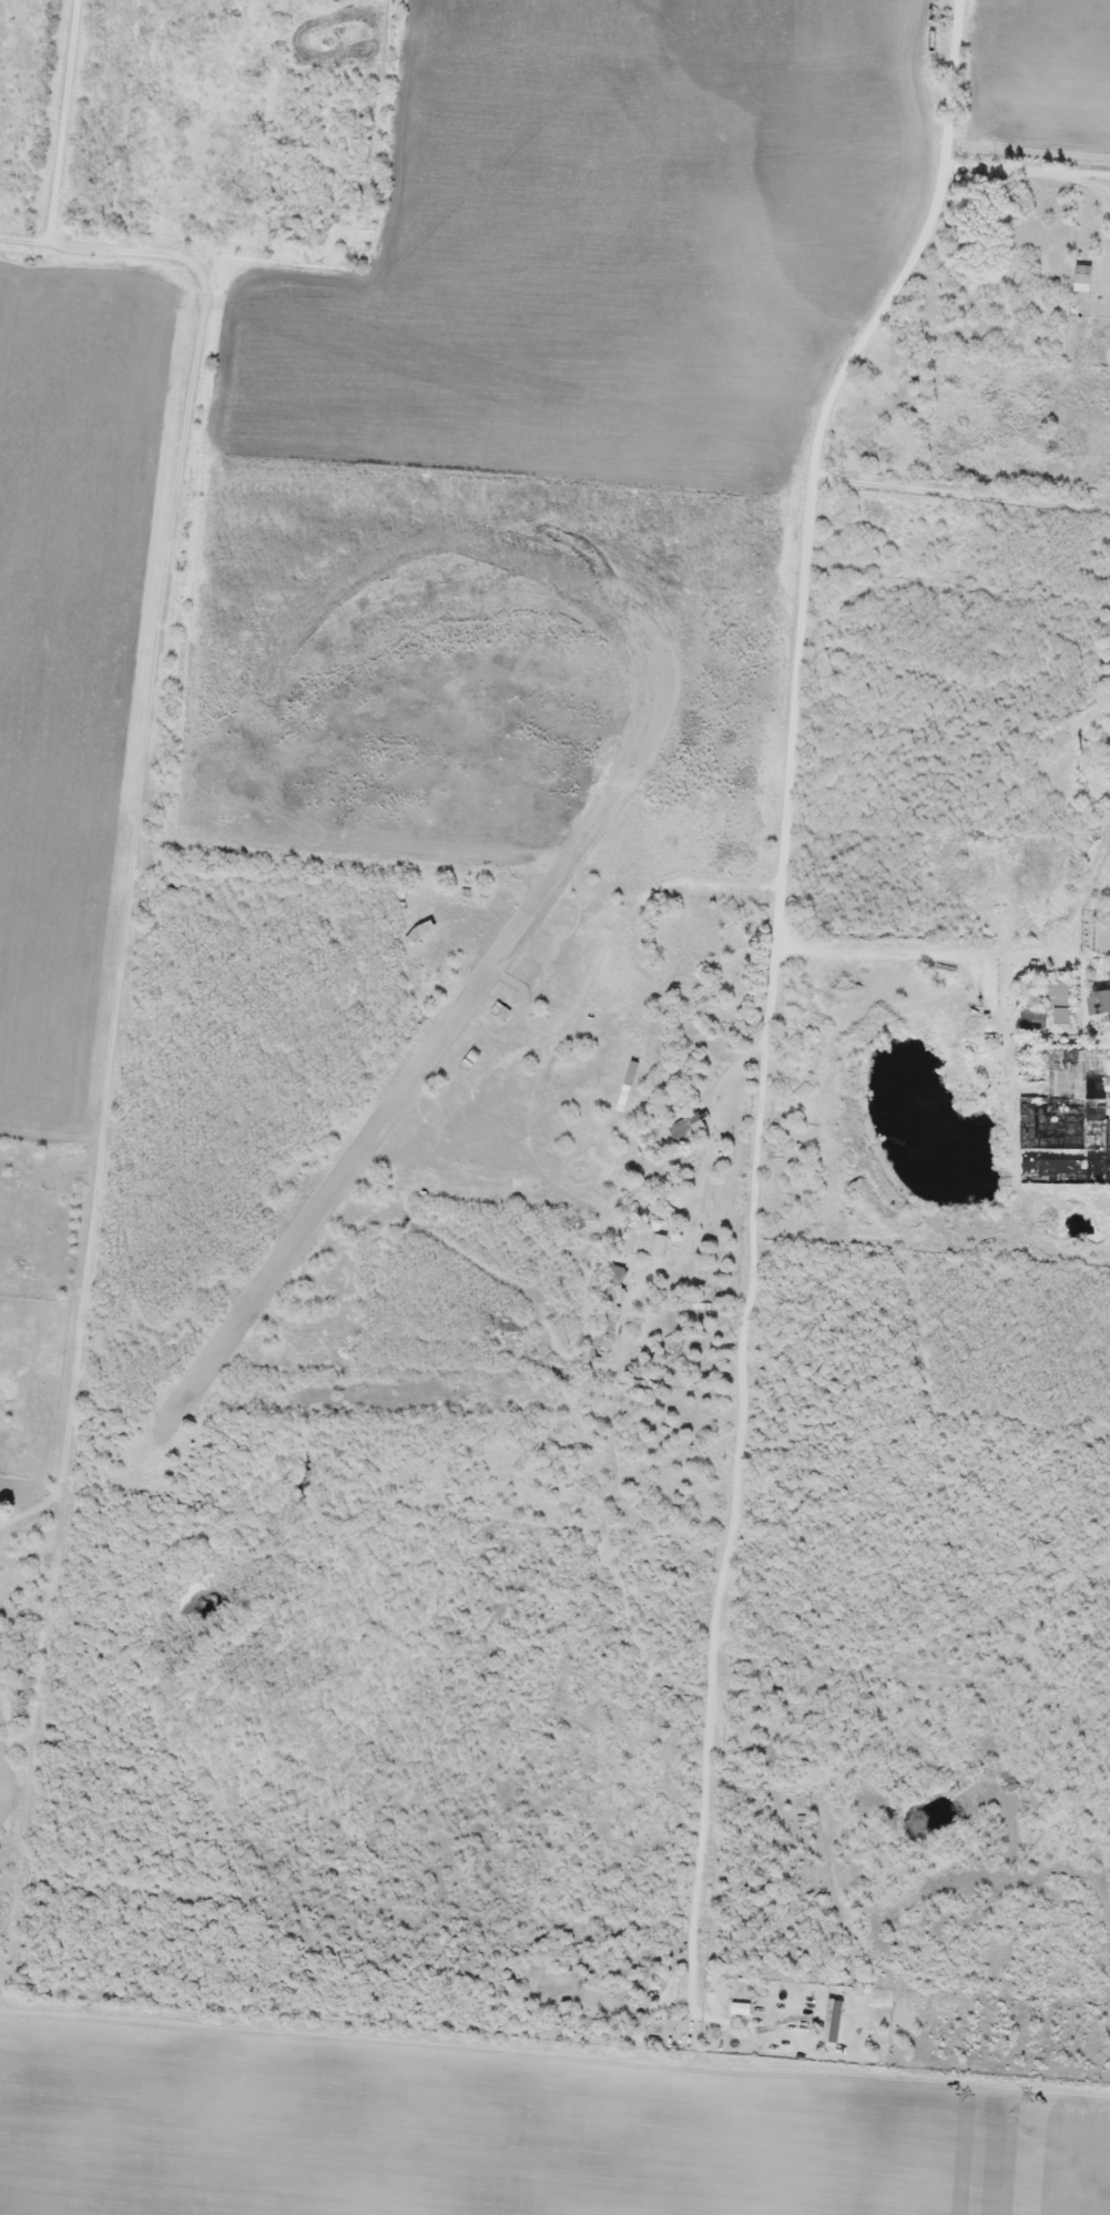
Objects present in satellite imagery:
park: (345, 38)
road: (62, 121)
road: (1027, 155)
road: (1026, 171)
road: (24, 240)
building: (1083, 273)
road: (963, 494)
road: (807, 522)
building: (1108, 752)
road: (146, 810)
building: (1102, 916)
building: (733, 979)
building: (1102, 1000)
building: (1050, 1009)
building: (688, 1126)
building: (641, 1241)
building: (609, 1314)
building: (17, 1544)
road: (554, 1969)

